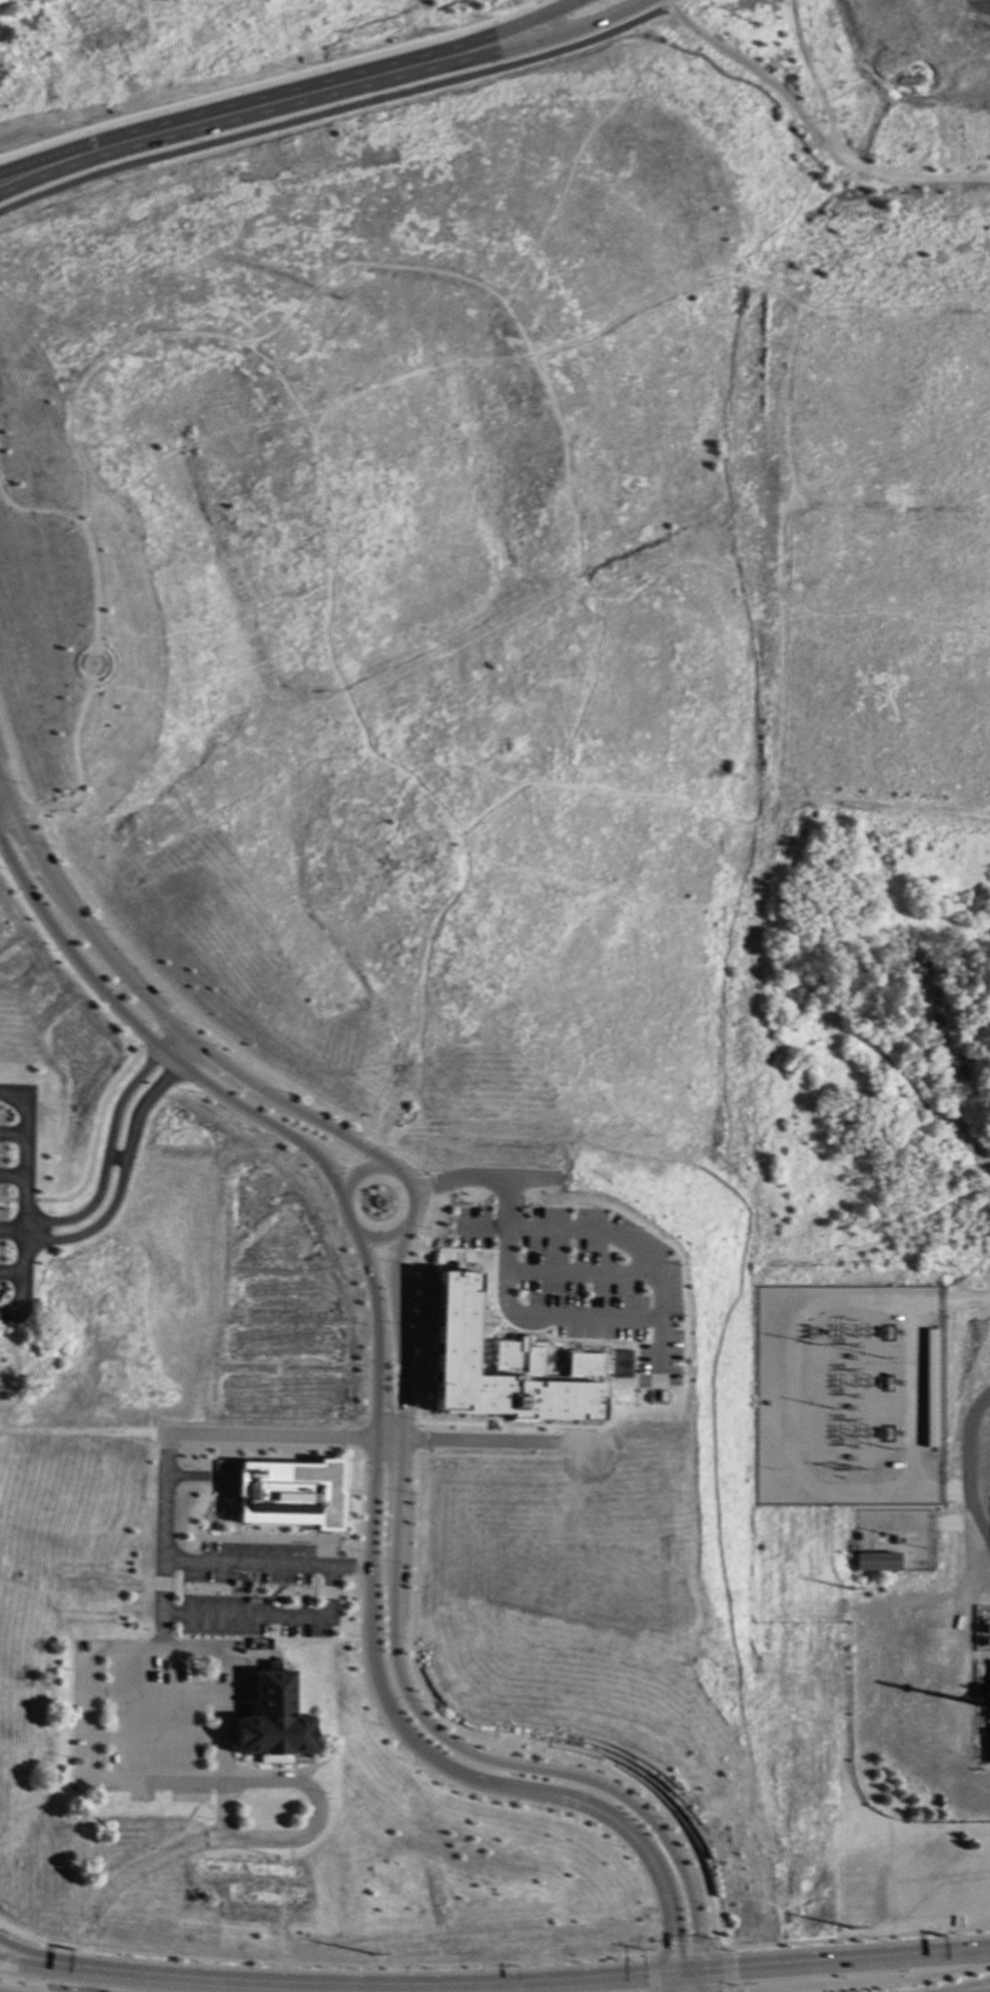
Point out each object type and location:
road: (672, 3)
road: (546, 6)
park: (417, 20)
road: (513, 27)
road: (507, 49)
road: (753, 71)
road: (270, 80)
park: (847, 106)
road: (224, 107)
road: (334, 111)
road: (181, 134)
road: (838, 151)
road: (522, 356)
road: (547, 401)
road: (787, 595)
road: (322, 600)
road: (602, 608)
park: (511, 610)
road: (90, 638)
road: (781, 732)
road: (220, 740)
road: (877, 806)
road: (3, 809)
road: (17, 819)
road: (209, 970)
road: (156, 1012)
road: (151, 1043)
road: (257, 1068)
park: (907, 1099)
road: (95, 1124)
road: (12, 1135)
road: (107, 1144)
road: (122, 1166)
road: (379, 1167)
road: (11, 1178)
road: (478, 1180)
parking lot: (15, 1199)
road: (22, 1202)
road: (340, 1217)
road: (10, 1230)
road: (386, 1237)
road: (606, 1237)
road: (574, 1272)
road: (10, 1273)
parking lot: (576, 1282)
road: (965, 1300)
road: (530, 1322)
building: (501, 1370)
power substation: (843, 1395)
road: (539, 1426)
road: (77, 1431)
road: (355, 1439)
road: (417, 1439)
road: (486, 1457)
road: (965, 1467)
road: (195, 1476)
building: (288, 1494)
road: (161, 1540)
building: (876, 1563)
parking lot: (249, 1564)
road: (265, 1564)
road: (181, 1588)
road: (229, 1589)
power tower: (847, 1589)
parking lot: (255, 1616)
road: (270, 1616)
building: (988, 1629)
road: (115, 1648)
building: (938, 1654)
road: (380, 1687)
road: (155, 1688)
road: (404, 1689)
building: (988, 1706)
parking lot: (155, 1714)
building: (274, 1721)
road: (155, 1735)
road: (497, 1747)
road: (251, 1841)
power tower: (848, 1927)
road: (19, 1933)
road: (853, 1938)
traffic signals: (675, 1944)
road: (687, 1952)
road: (48, 1954)
road: (653, 1954)
road: (27, 1955)
power tower: (373, 1956)
road: (845, 1962)
road: (28, 1963)
road: (344, 1964)
road: (726, 1970)
traffic signals: (735, 1970)
road: (651, 1973)
road: (689, 1973)
road: (701, 1982)
road: (677, 1983)
road: (693, 1983)
road: (882, 1984)
road: (968, 1985)
road: (366, 1989)

